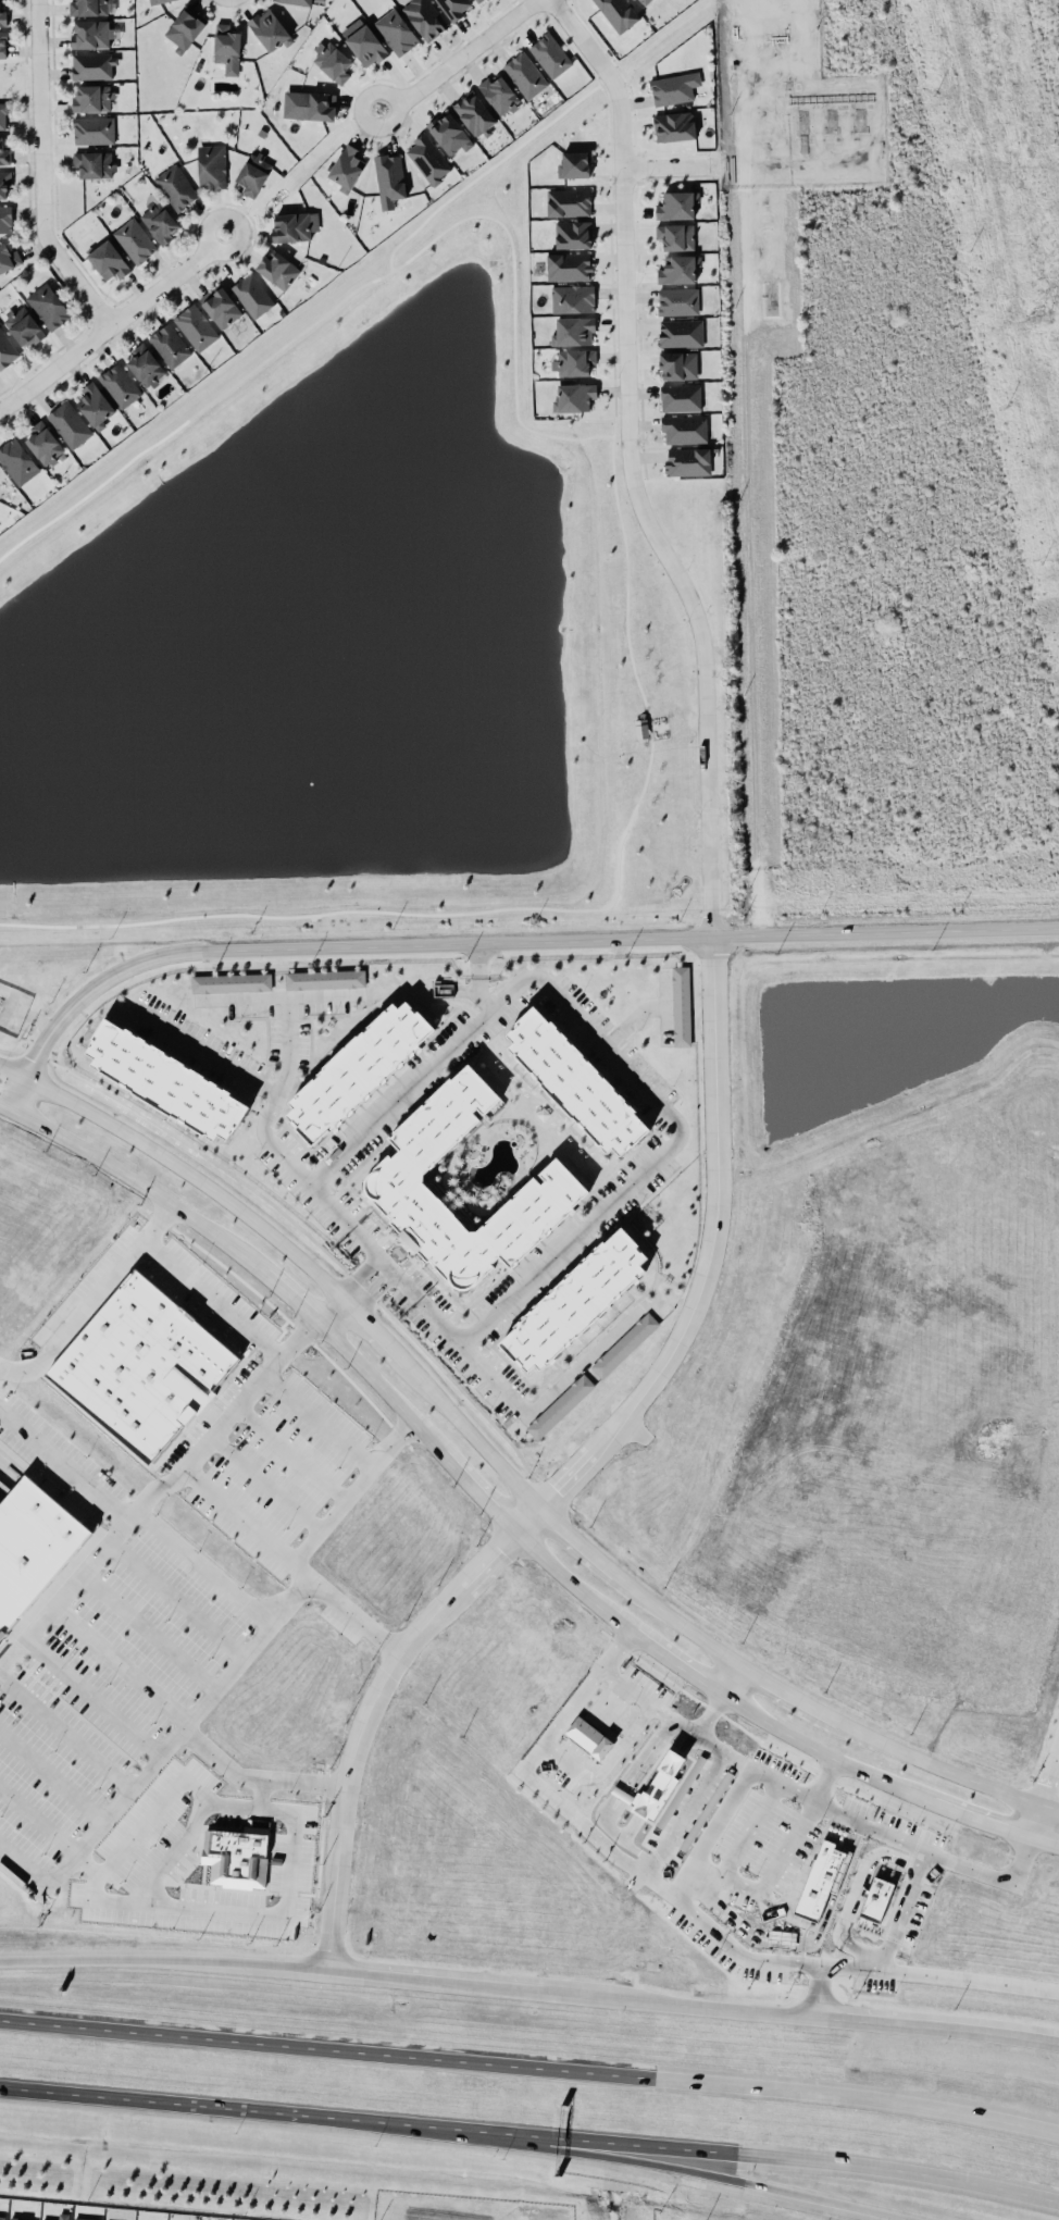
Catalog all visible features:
building: (478, 0)
building: (157, 1)
building: (295, 1)
building: (646, 1)
building: (88, 7)
building: (618, 13)
building: (3, 17)
building: (424, 17)
building: (185, 27)
building: (269, 29)
building: (396, 32)
building: (90, 34)
building: (3, 44)
building: (365, 45)
building: (227, 48)
building: (550, 54)
road: (459, 58)
building: (332, 61)
building: (92, 65)
building: (525, 74)
park: (14, 76)
building: (674, 87)
building: (499, 94)
building: (92, 98)
building: (309, 104)
building: (474, 113)
building: (3, 115)
building: (674, 125)
building: (92, 129)
building: (450, 134)
building: (4, 153)
building: (428, 158)
building: (94, 163)
building: (574, 164)
building: (211, 165)
building: (347, 165)
road: (665, 165)
road: (42, 173)
building: (253, 173)
building: (389, 178)
building: (4, 184)
building: (175, 186)
building: (568, 201)
building: (676, 204)
building: (5, 219)
building: (159, 219)
building: (295, 225)
building: (573, 234)
building: (675, 235)
building: (135, 240)
building: (8, 257)
building: (108, 260)
building: (569, 265)
building: (678, 269)
building: (278, 270)
building: (252, 295)
building: (572, 298)
building: (677, 300)
building: (48, 306)
building: (221, 306)
power tower: (1036, 318)
road: (113, 324)
building: (23, 325)
building: (196, 326)
building: (573, 331)
building: (681, 332)
building: (170, 345)
building: (5, 349)
building: (573, 361)
building: (146, 364)
building: (678, 364)
building: (120, 384)
building: (574, 396)
building: (681, 397)
building: (95, 405)
building: (70, 424)
building: (684, 429)
building: (43, 443)
building: (688, 460)
building: (17, 461)
road: (749, 559)
building: (640, 728)
road: (497, 941)
road: (484, 977)
building: (325, 978)
building: (232, 982)
building: (681, 1005)
road: (714, 1028)
road: (205, 1056)
road: (635, 1068)
building: (358, 1069)
building: (165, 1080)
building: (575, 1081)
road: (259, 1130)
building: (395, 1173)
road: (372, 1264)
road: (393, 1285)
road: (212, 1295)
road: (91, 1298)
building: (576, 1302)
road: (332, 1307)
building: (624, 1343)
road: (582, 1362)
building: (141, 1366)
road: (491, 1377)
building: (560, 1404)
road: (319, 1419)
road: (722, 1456)
road: (63, 1462)
road: (506, 1469)
road: (157, 1489)
road: (351, 1490)
road: (845, 1501)
road: (501, 1514)
road: (639, 1528)
road: (773, 1543)
building: (33, 1551)
road: (202, 1563)
road: (655, 1571)
road: (792, 1582)
road: (297, 1587)
road: (352, 1614)
road: (730, 1676)
road: (645, 1702)
road: (728, 1750)
road: (1057, 1754)
road: (153, 1760)
road: (1049, 1779)
road: (262, 1794)
road: (553, 1799)
road: (850, 1818)
road: (1037, 1820)
road: (295, 1825)
road: (175, 1850)
building: (237, 1855)
road: (770, 1865)
road: (695, 1875)
building: (821, 1877)
road: (854, 1893)
road: (906, 1897)
building: (876, 1898)
building: (782, 1937)
road: (163, 1956)
road: (964, 1980)
road: (693, 2005)
road: (531, 2064)
road: (177, 2103)
road: (708, 2149)
road: (634, 2159)
building: (60, 2216)
building: (1, 2217)
building: (20, 2218)
building: (84, 2218)
building: (17, 2219)

